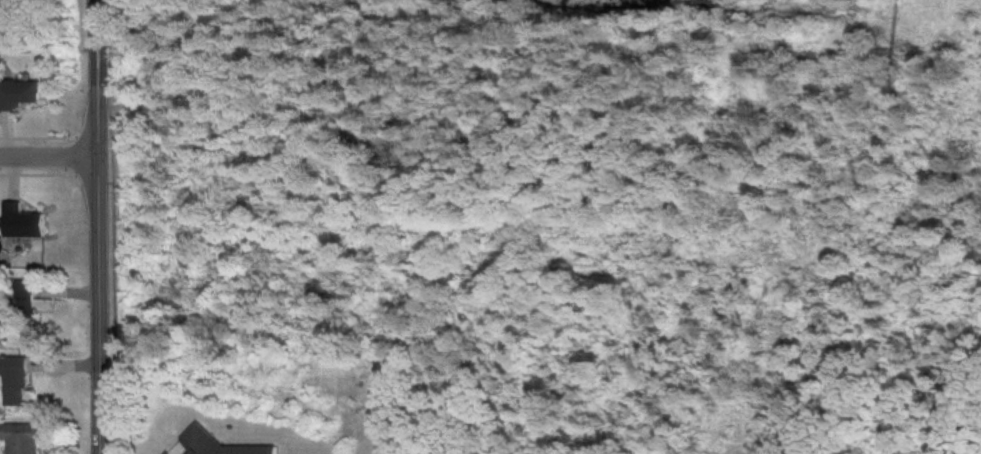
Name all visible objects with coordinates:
building: (19, 91)
road: (52, 157)
building: (23, 220)
road: (104, 226)
building: (25, 301)
building: (14, 379)
building: (20, 438)
building: (224, 444)
building: (169, 452)

